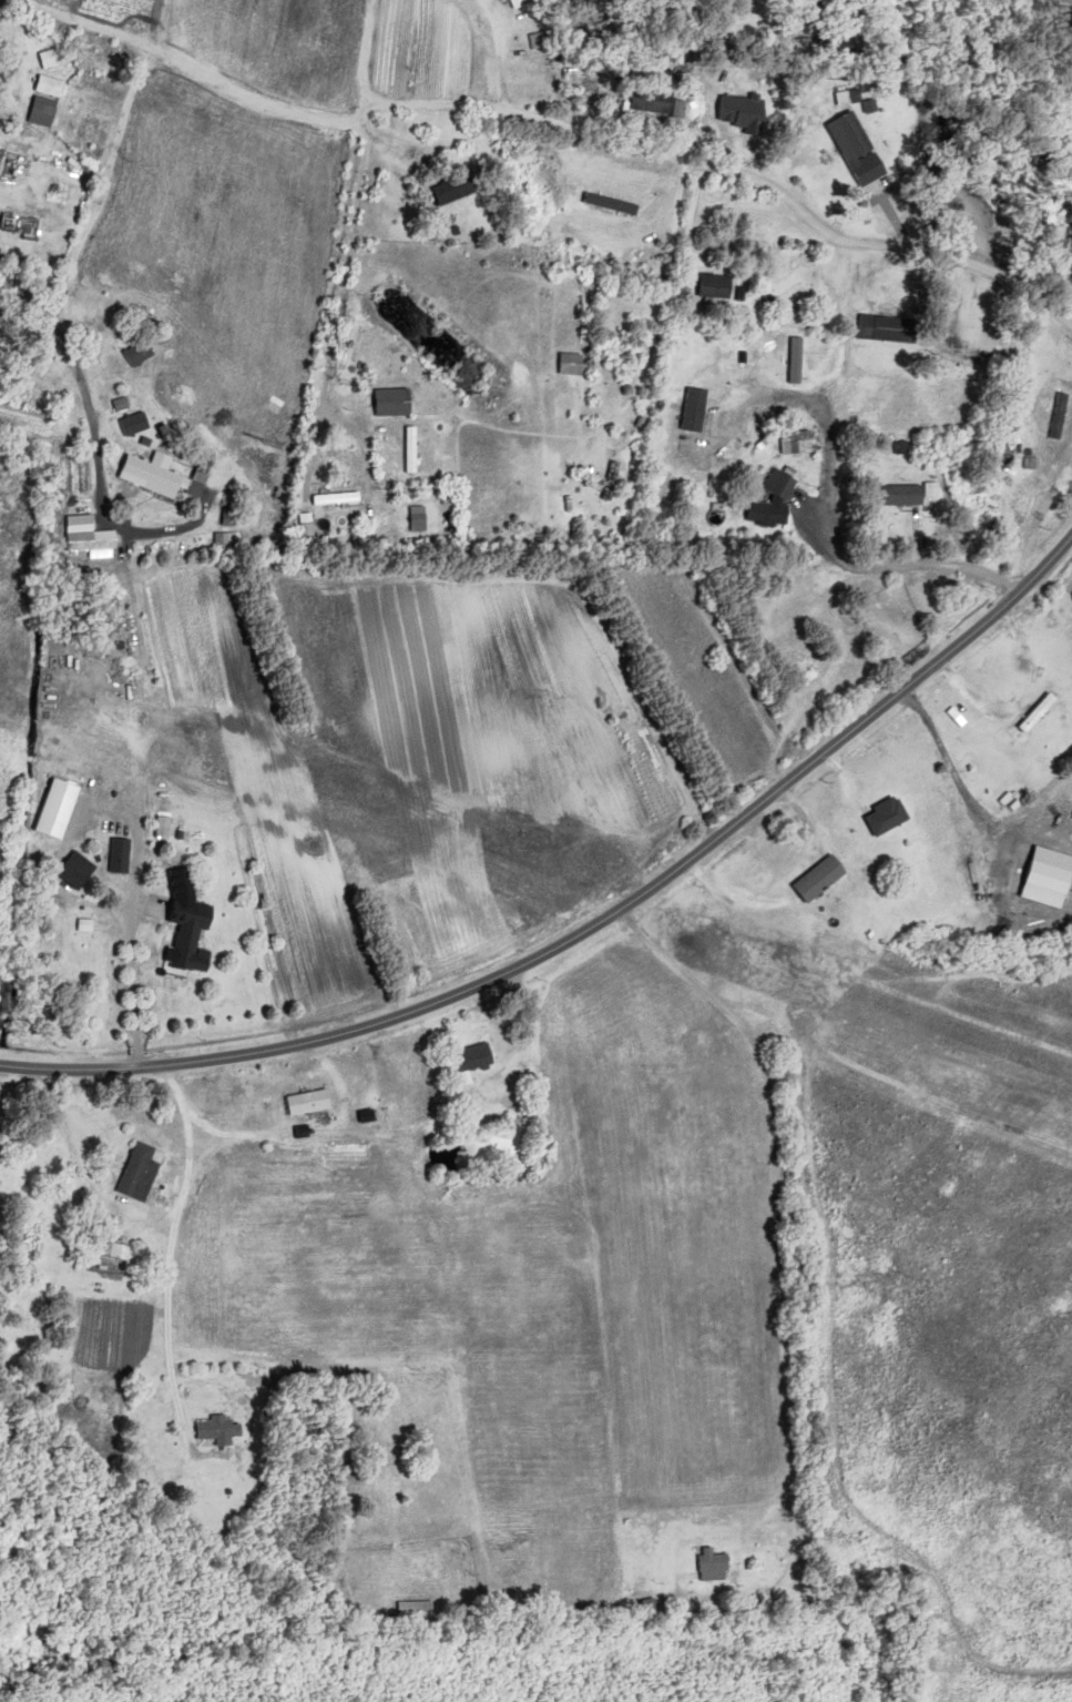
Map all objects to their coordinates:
building: (522, 4)
building: (102, 43)
road: (184, 58)
building: (52, 60)
road: (375, 63)
building: (104, 83)
building: (49, 102)
building: (749, 108)
building: (856, 138)
road: (737, 170)
building: (460, 191)
road: (105, 207)
building: (23, 224)
building: (722, 287)
road: (335, 315)
building: (892, 330)
building: (142, 353)
road: (48, 378)
building: (397, 402)
building: (1063, 415)
building: (139, 423)
building: (802, 442)
building: (172, 478)
building: (786, 484)
road: (840, 487)
building: (908, 495)
building: (1033, 495)
building: (345, 499)
building: (422, 518)
building: (84, 534)
road: (113, 695)
building: (1037, 717)
building: (892, 817)
building: (123, 857)
building: (80, 871)
building: (825, 879)
road: (593, 926)
building: (194, 940)
building: (479, 1058)
building: (312, 1103)
building: (144, 1172)
road: (784, 1187)
building: (115, 1250)
road: (175, 1258)
building: (223, 1430)
building: (515, 1546)
building: (718, 1566)
building: (419, 1607)

